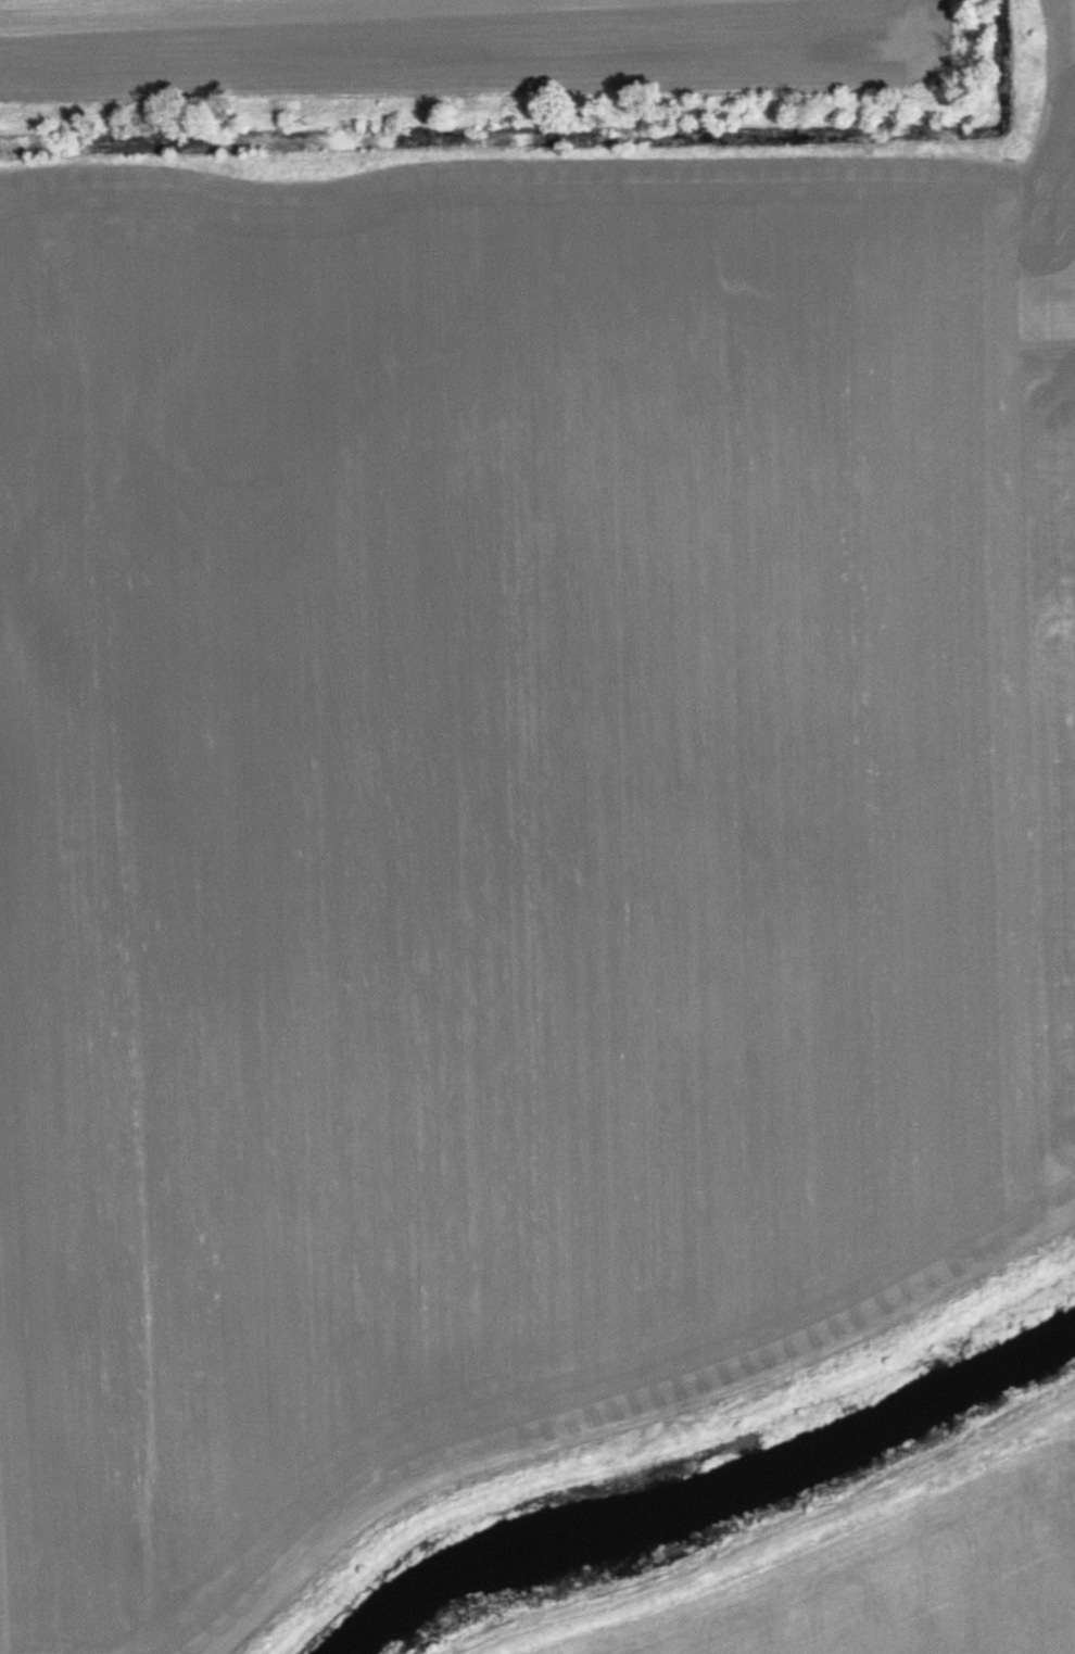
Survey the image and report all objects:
road: (640, 1427)
river: (711, 1495)

